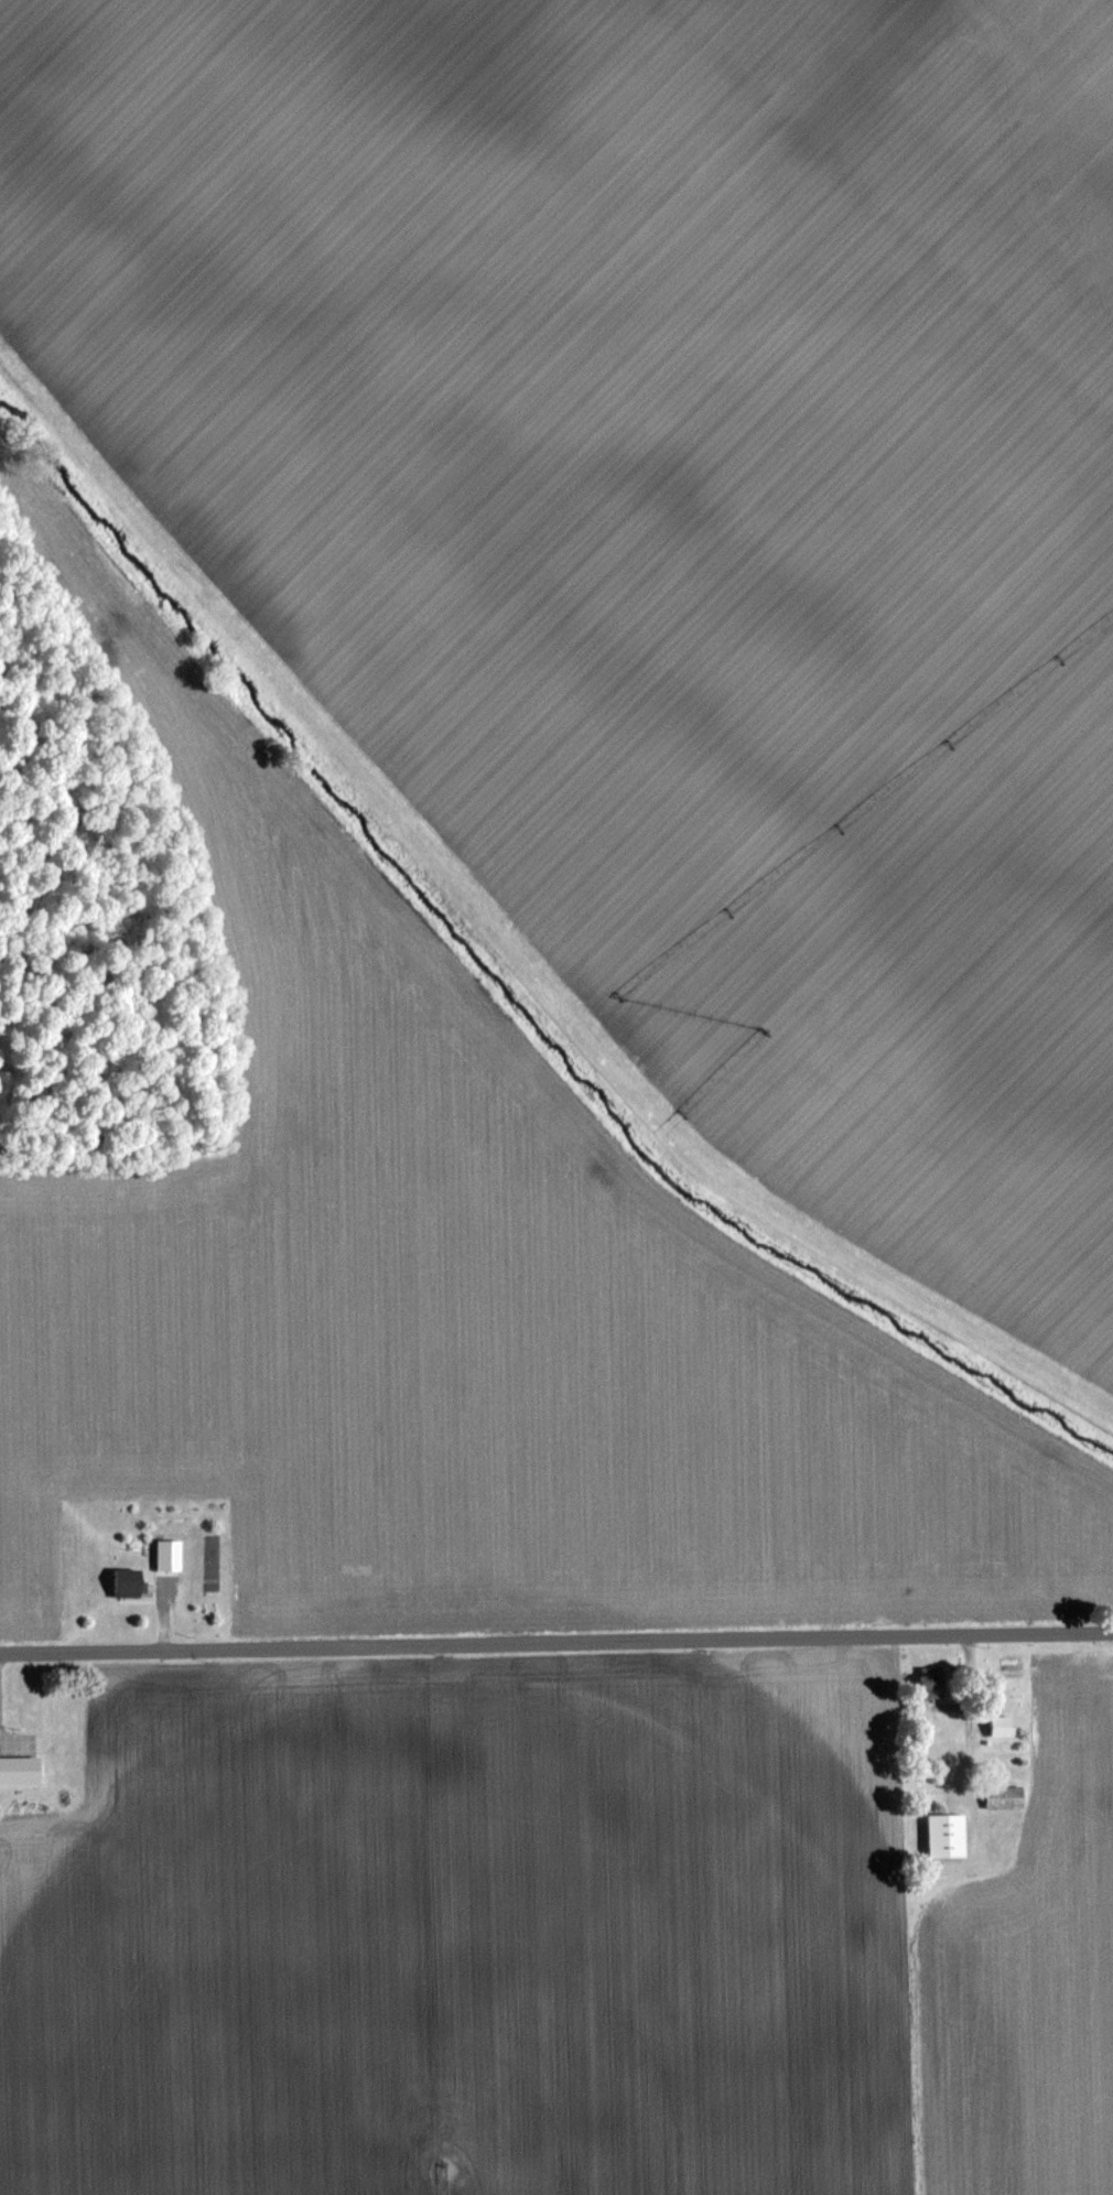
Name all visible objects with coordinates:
building: (122, 1581)
road: (556, 1636)
building: (926, 1682)
building: (995, 1726)
building: (18, 1769)
building: (1001, 1796)
building: (941, 1835)

